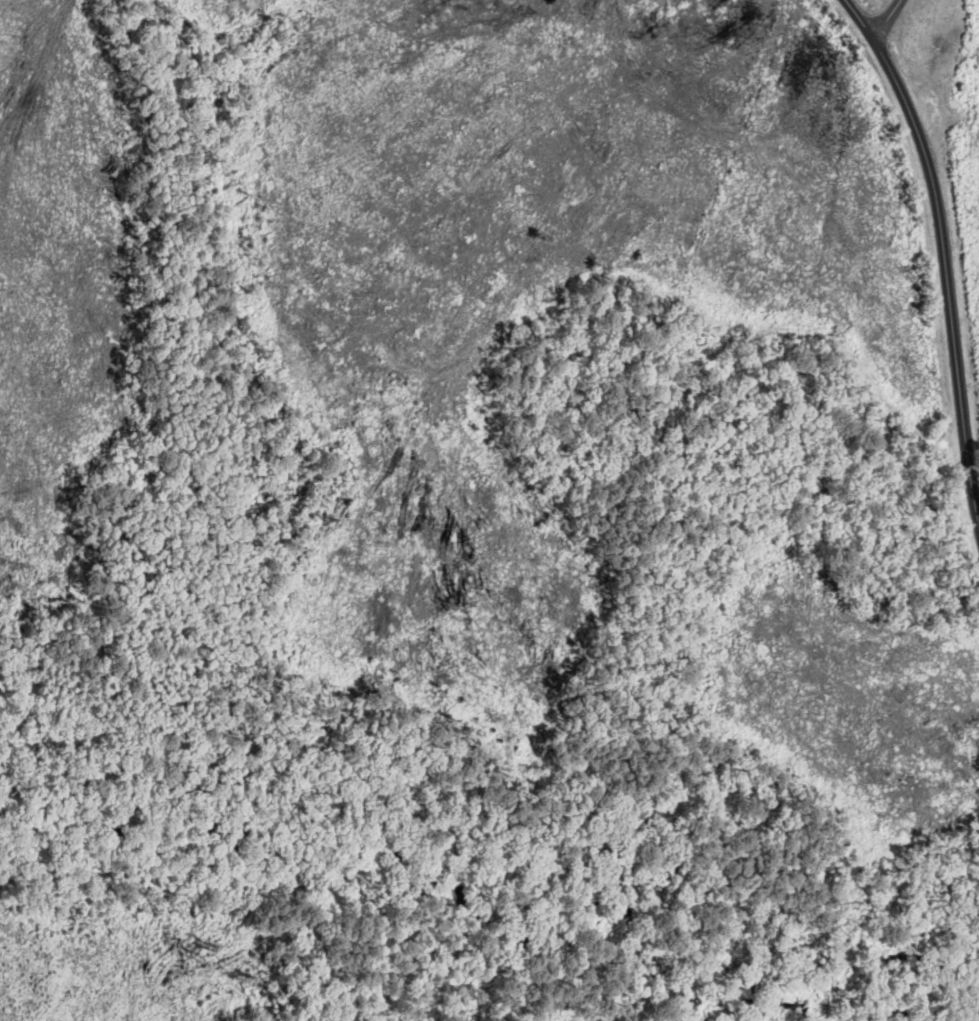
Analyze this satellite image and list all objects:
road: (887, 19)
road: (944, 251)

